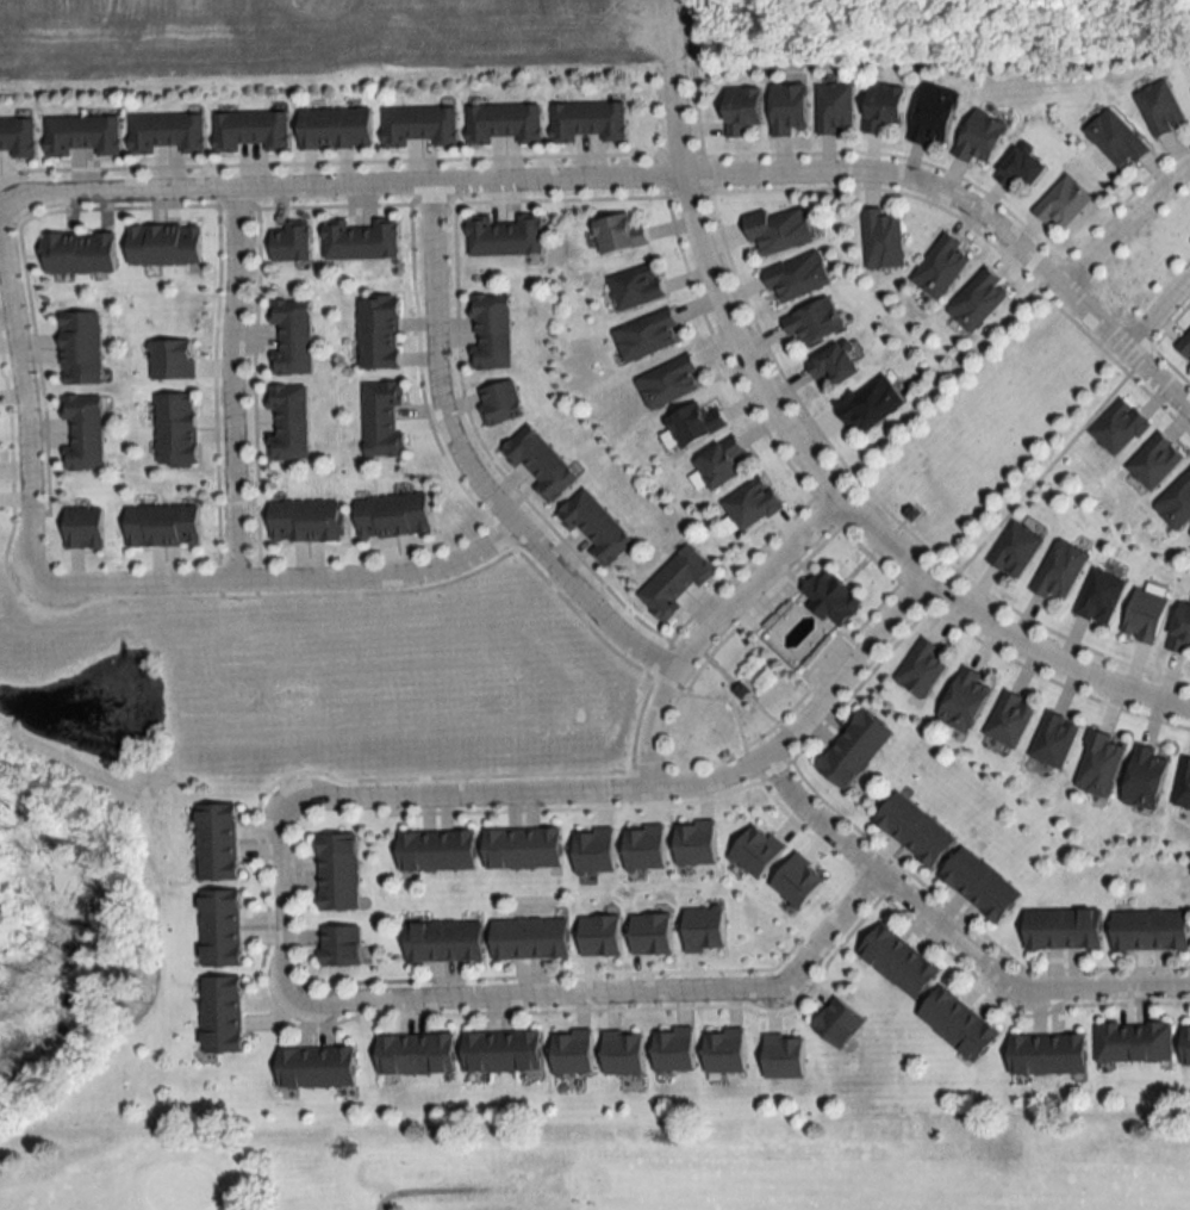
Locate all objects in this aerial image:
building: (885, 105)
building: (1160, 106)
building: (835, 107)
building: (743, 108)
building: (790, 108)
building: (935, 114)
building: (590, 119)
building: (505, 122)
building: (420, 125)
building: (337, 126)
building: (253, 129)
building: (168, 131)
building: (83, 134)
building: (19, 136)
building: (980, 136)
building: (1116, 138)
building: (1022, 167)
road: (853, 175)
road: (212, 188)
building: (1063, 203)
road: (1119, 221)
building: (779, 231)
building: (619, 232)
building: (506, 235)
building: (883, 237)
building: (362, 238)
building: (293, 241)
building: (167, 244)
building: (80, 253)
building: (940, 266)
building: (798, 277)
building: (637, 286)
building: (979, 299)
road: (1158, 315)
building: (815, 322)
building: (380, 330)
building: (492, 330)
building: (293, 335)
building: (649, 335)
building: (1185, 345)
building: (82, 347)
building: (836, 364)
building: (671, 381)
road: (231, 384)
road: (24, 398)
building: (501, 402)
building: (870, 403)
building: (384, 417)
building: (291, 421)
building: (697, 423)
building: (1120, 426)
building: (177, 428)
building: (86, 429)
building: (1154, 460)
building: (541, 461)
building: (722, 463)
road: (469, 466)
road: (823, 472)
building: (1176, 502)
building: (753, 503)
building: (395, 515)
building: (309, 520)
building: (164, 525)
building: (597, 526)
building: (86, 527)
building: (1015, 548)
building: (1060, 570)
road: (284, 579)
building: (677, 581)
building: (830, 596)
building: (1101, 596)
building: (1145, 615)
road: (714, 621)
building: (1182, 629)
building: (923, 668)
building: (965, 701)
building: (1010, 719)
building: (1054, 740)
building: (855, 749)
building: (1099, 764)
building: (1146, 778)
building: (1183, 784)
road: (653, 788)
building: (915, 830)
building: (219, 842)
building: (524, 848)
building: (438, 851)
building: (339, 871)
building: (982, 885)
road: (276, 895)
building: (223, 927)
building: (1065, 927)
building: (1151, 930)
road: (954, 933)
building: (532, 938)
building: (446, 941)
building: (343, 945)
building: (901, 961)
road: (608, 992)
building: (223, 1014)
building: (840, 1023)
building: (959, 1024)
building: (1134, 1042)
building: (1186, 1045)
building: (504, 1051)
building: (417, 1054)
building: (1048, 1054)
building: (318, 1067)
park: (615, 1164)

